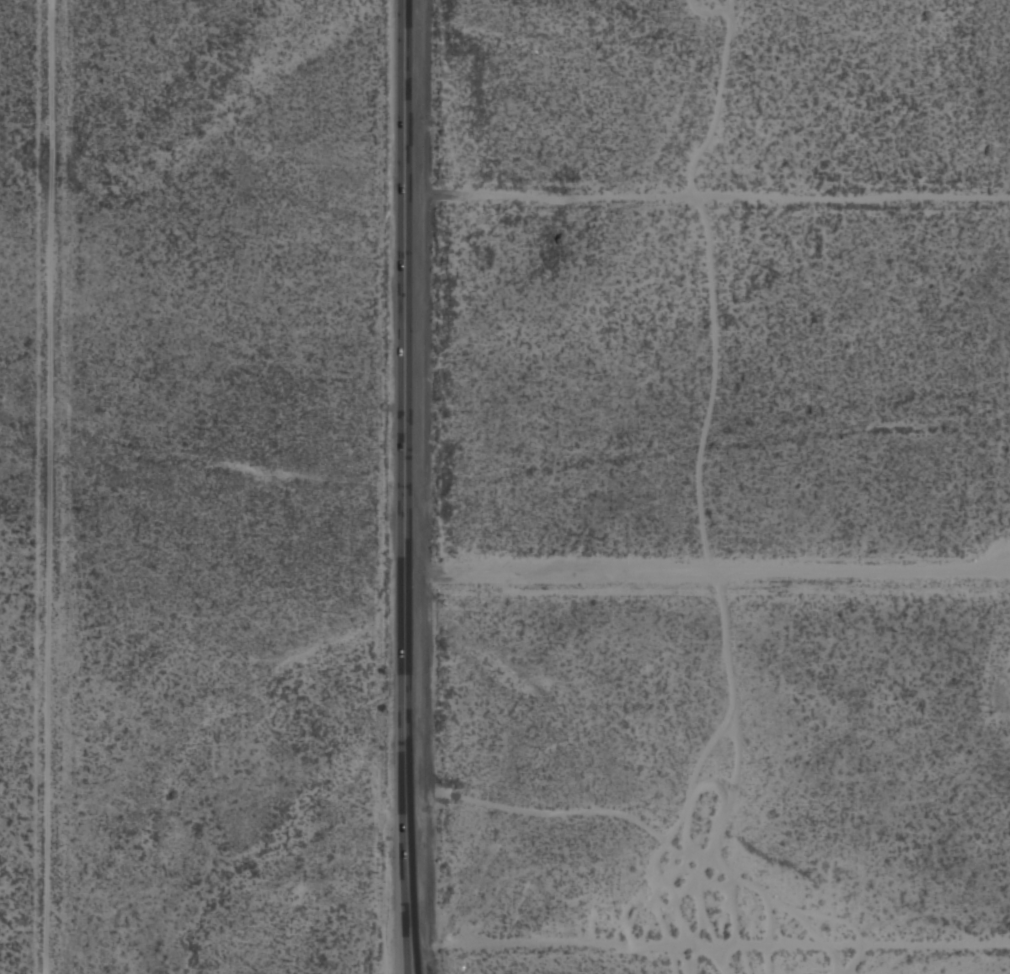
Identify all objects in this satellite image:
road: (709, 197)
road: (409, 473)
road: (709, 572)
road: (709, 947)
road: (408, 960)
road: (410, 960)

